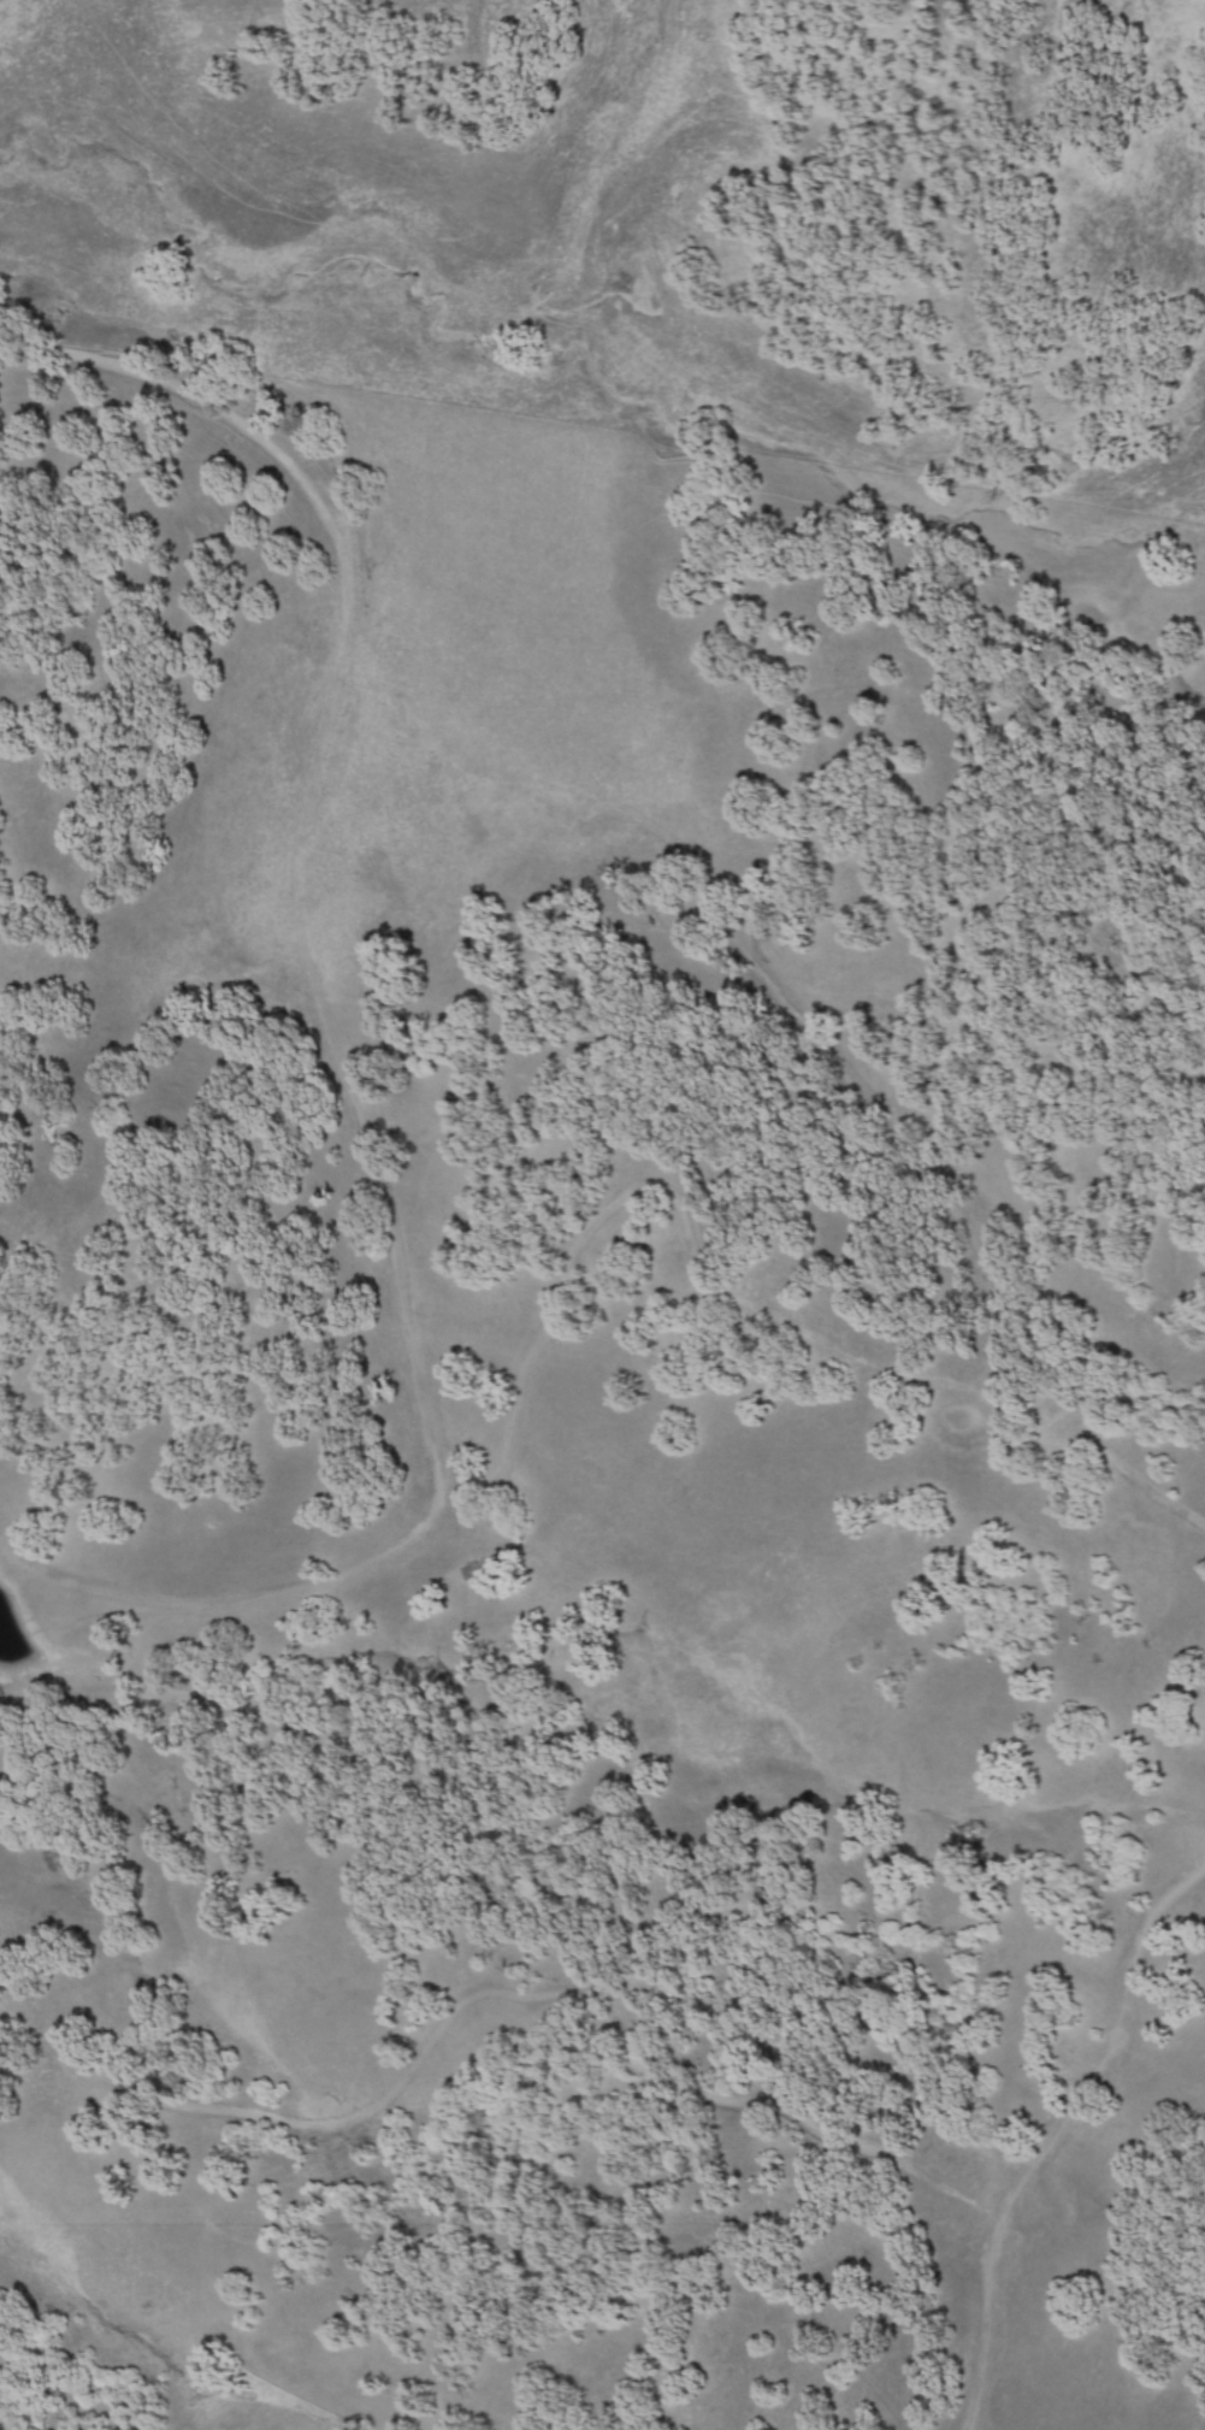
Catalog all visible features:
road: (1055, 2131)

